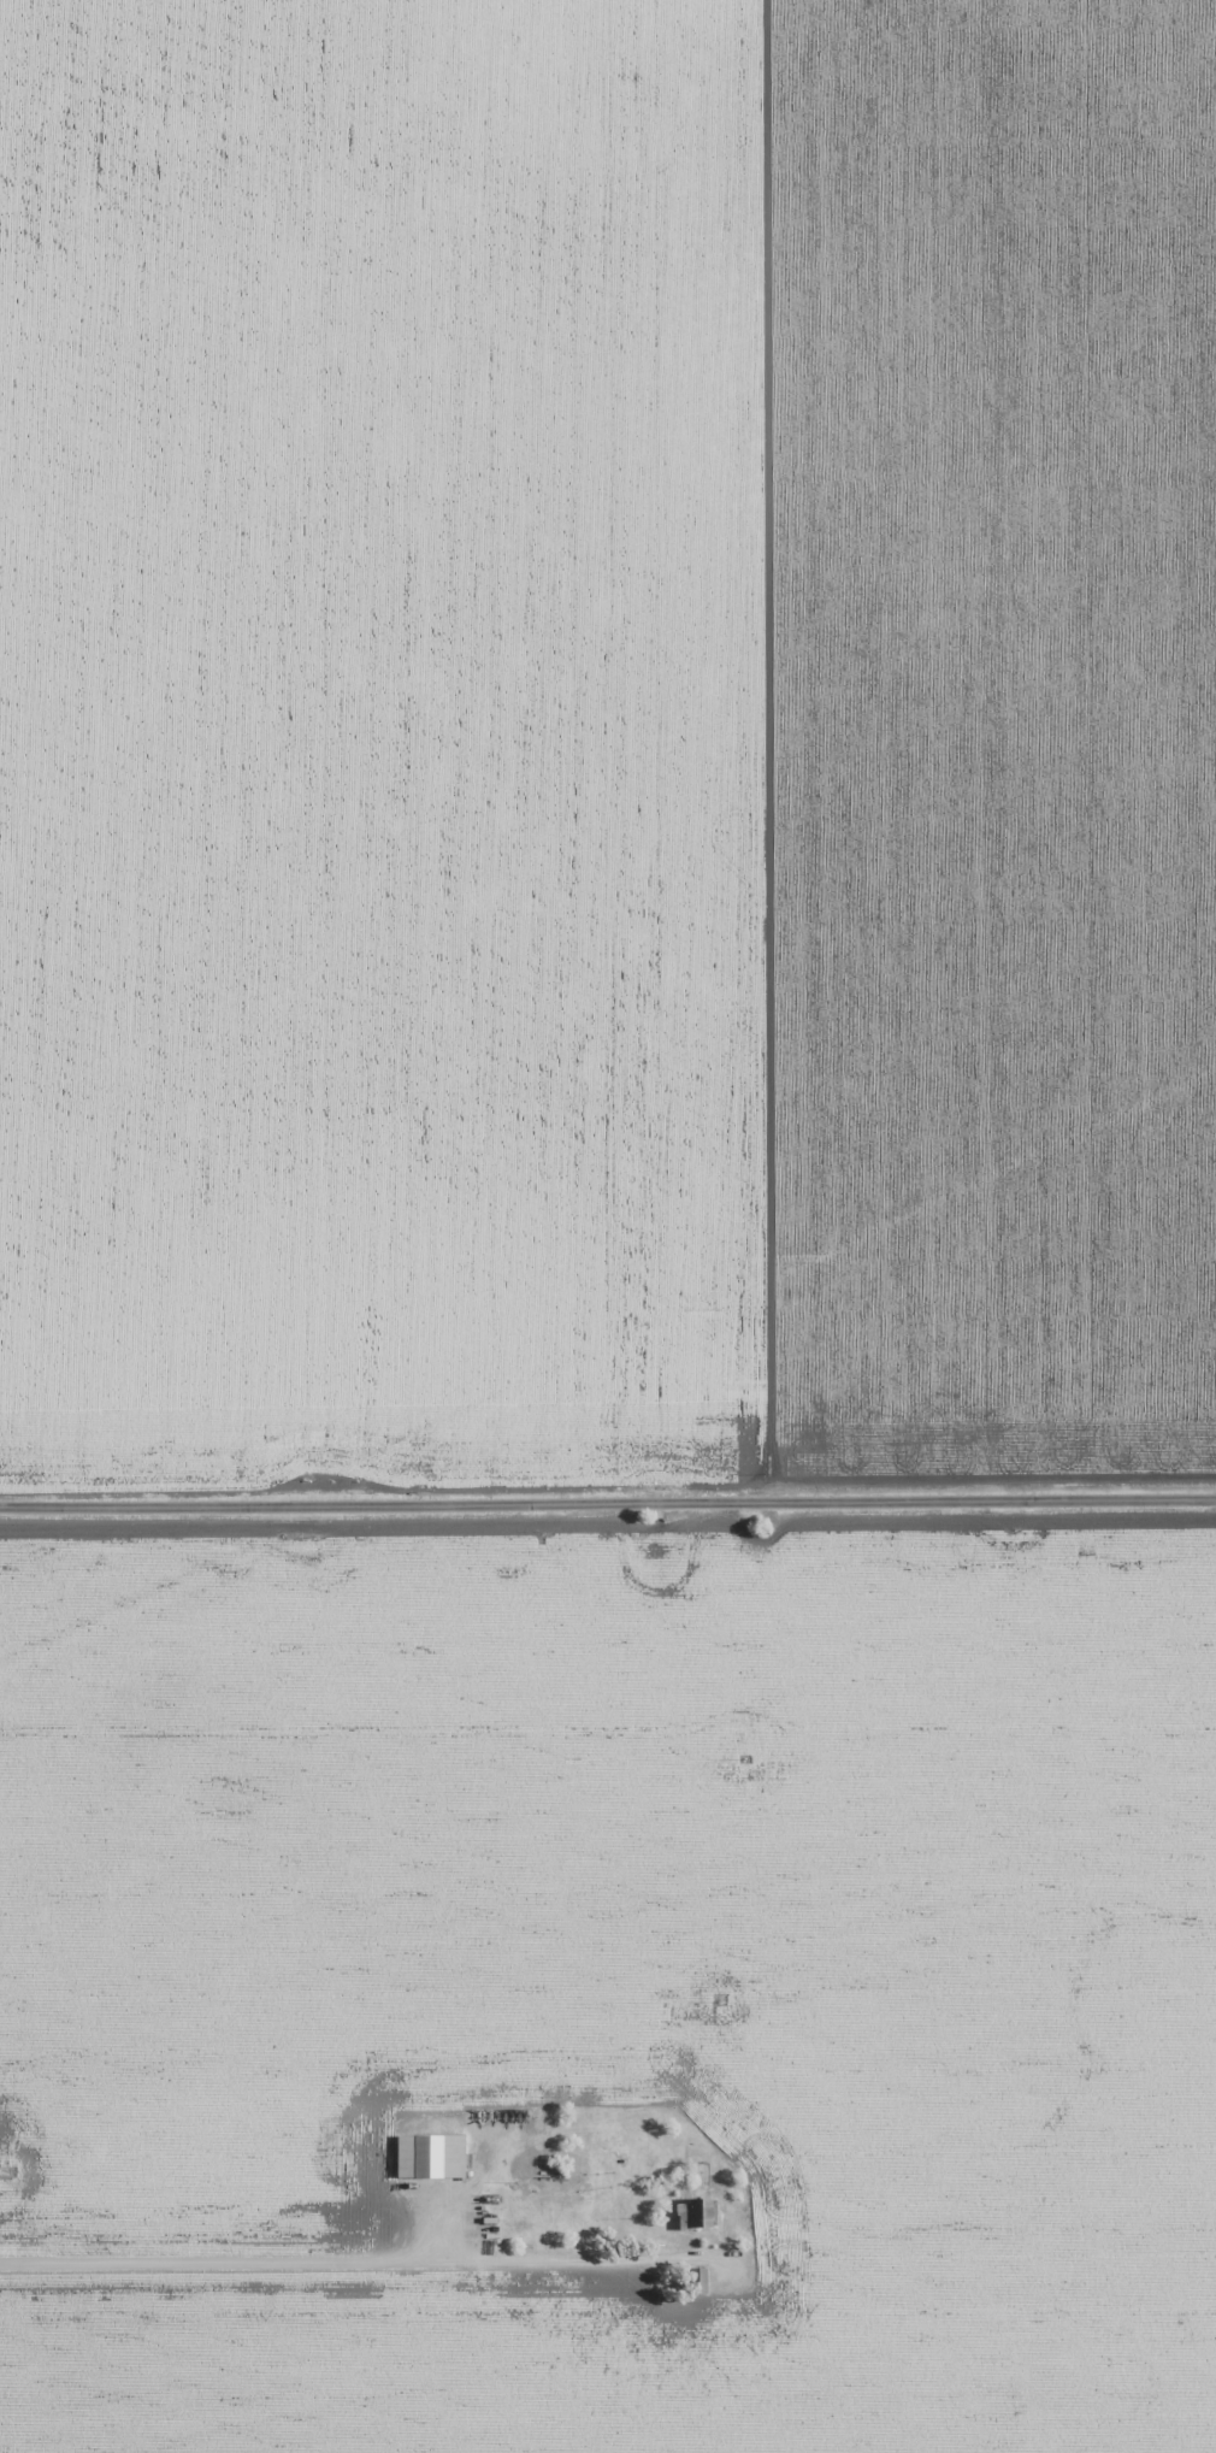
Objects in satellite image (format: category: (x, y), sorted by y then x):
road: (608, 1480)
building: (409, 2156)
building: (443, 2156)
building: (692, 2215)
building: (489, 2219)
road: (318, 2262)
building: (696, 2281)

